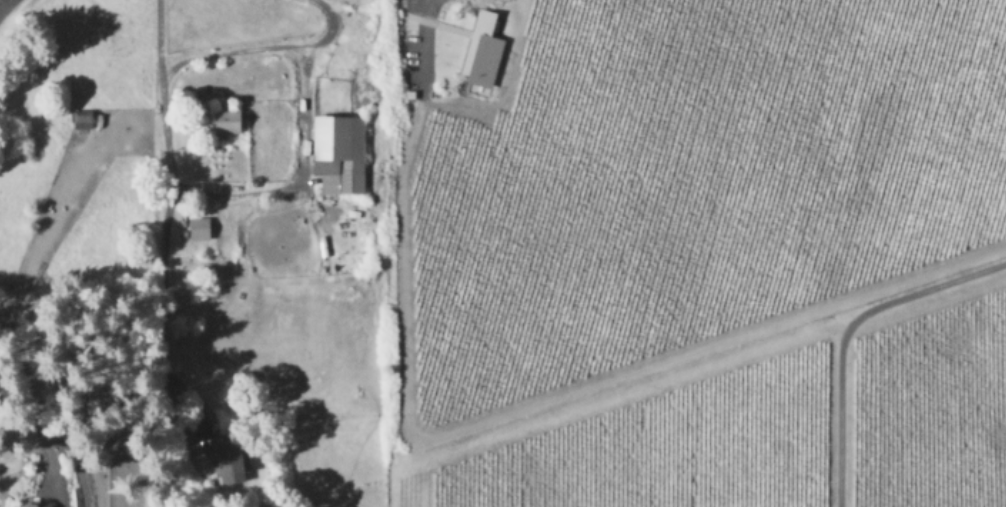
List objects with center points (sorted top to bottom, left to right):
road: (2, 2)
road: (417, 24)
road: (268, 45)
building: (480, 51)
building: (79, 118)
building: (223, 121)
building: (338, 152)
road: (299, 174)
road: (170, 207)
building: (198, 227)
road: (846, 330)
building: (33, 504)

